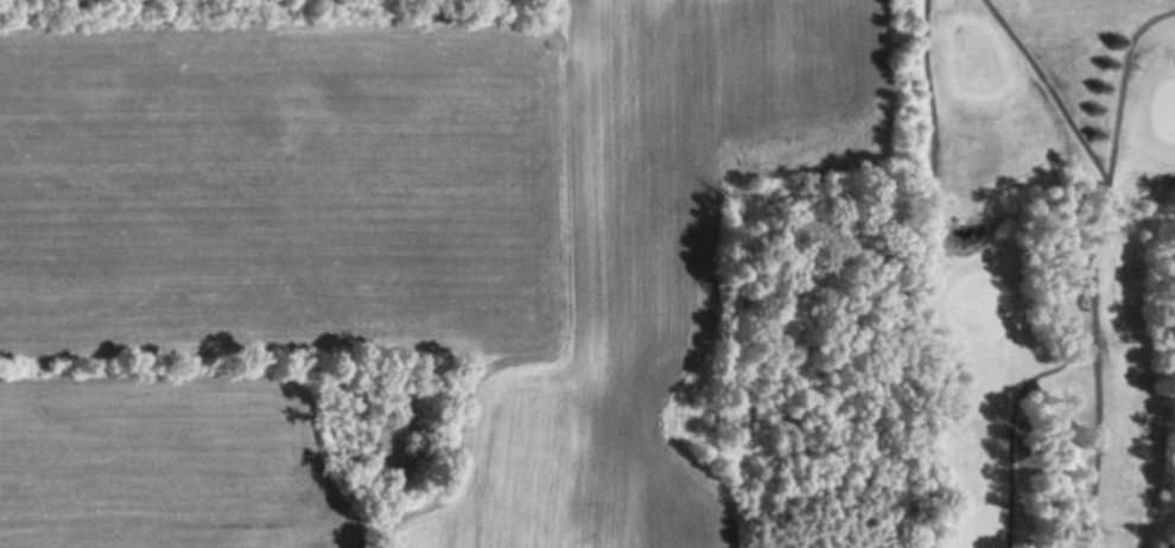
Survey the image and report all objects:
park: (978, 62)
road: (1057, 95)
park: (1168, 108)
road: (932, 225)
road: (1098, 266)
park: (1042, 273)
park: (984, 305)
road: (1043, 371)

